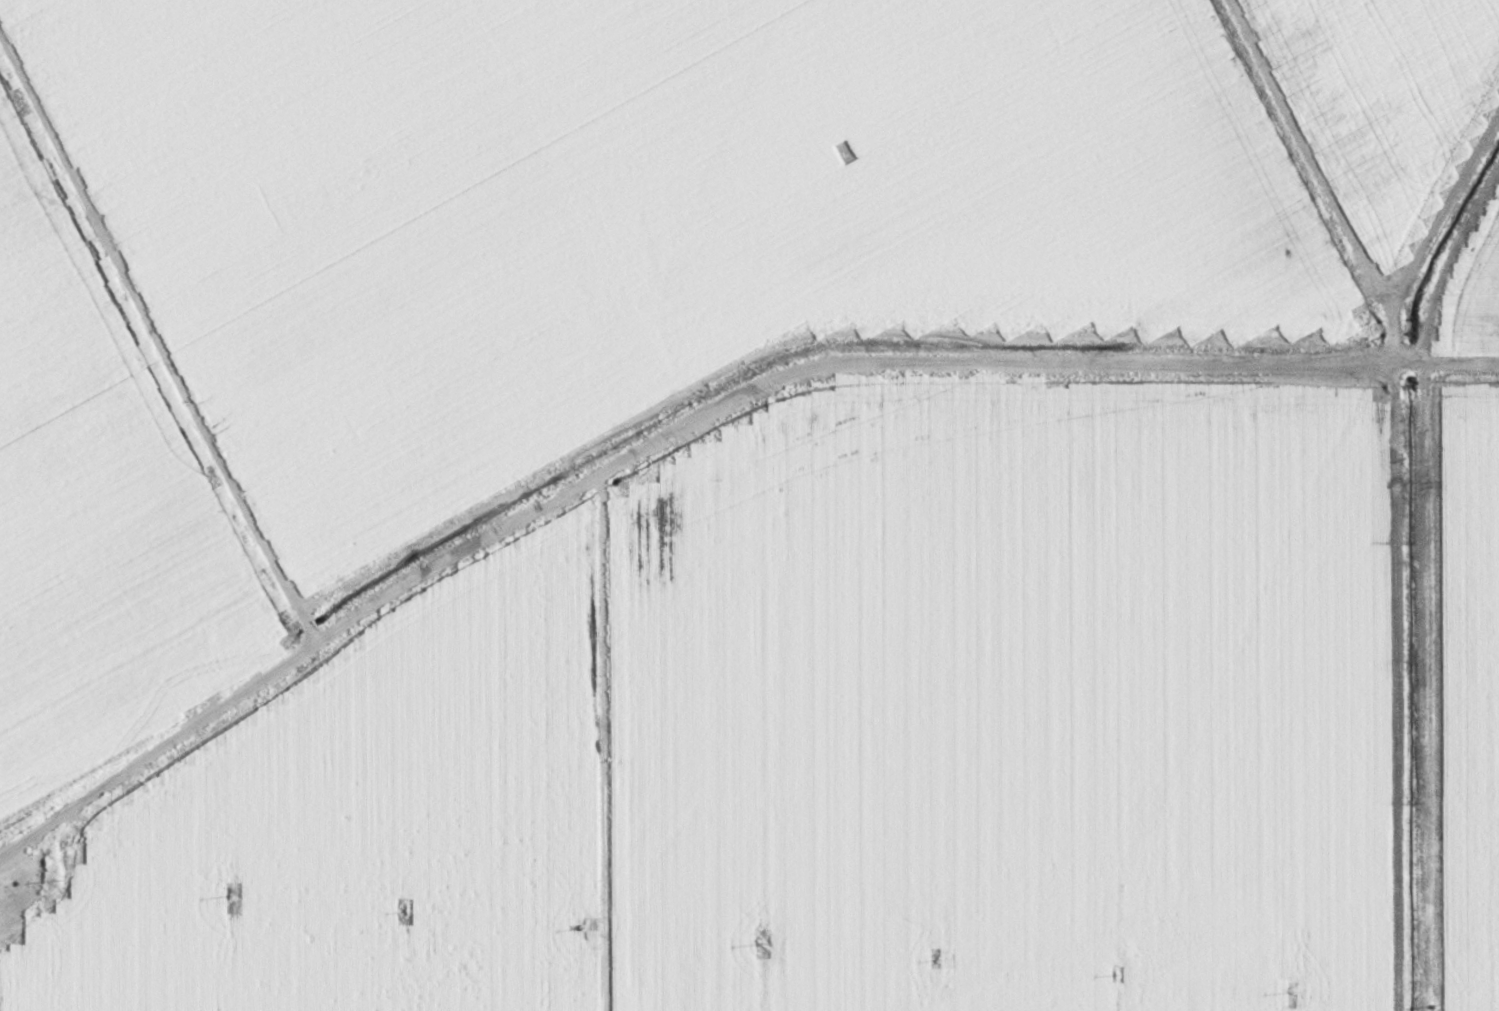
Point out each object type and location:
road: (582, 205)
road: (1088, 364)
road: (331, 631)
road: (1422, 687)

